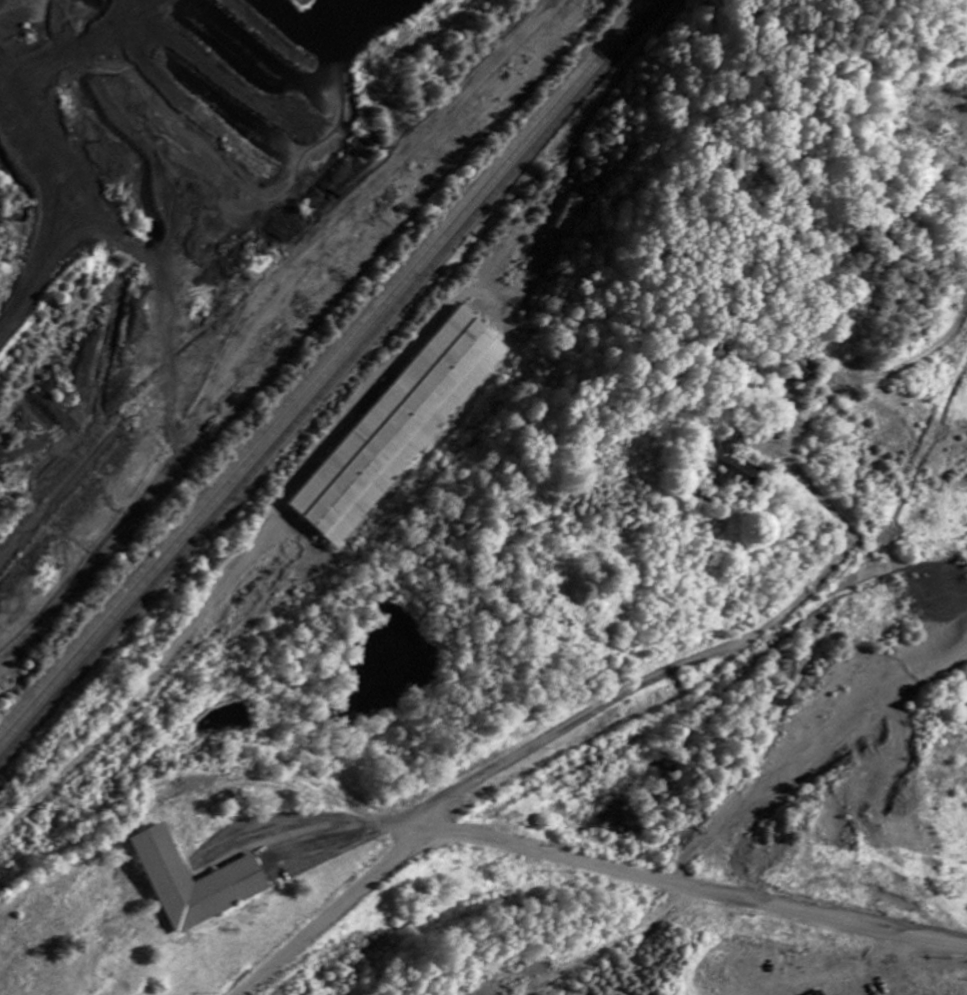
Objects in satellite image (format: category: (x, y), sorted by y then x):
railway: (324, 368)
building: (801, 372)
railway: (341, 385)
building: (400, 432)
building: (734, 466)
road: (299, 470)
road: (654, 677)
road: (419, 839)
road: (584, 866)
building: (197, 883)

